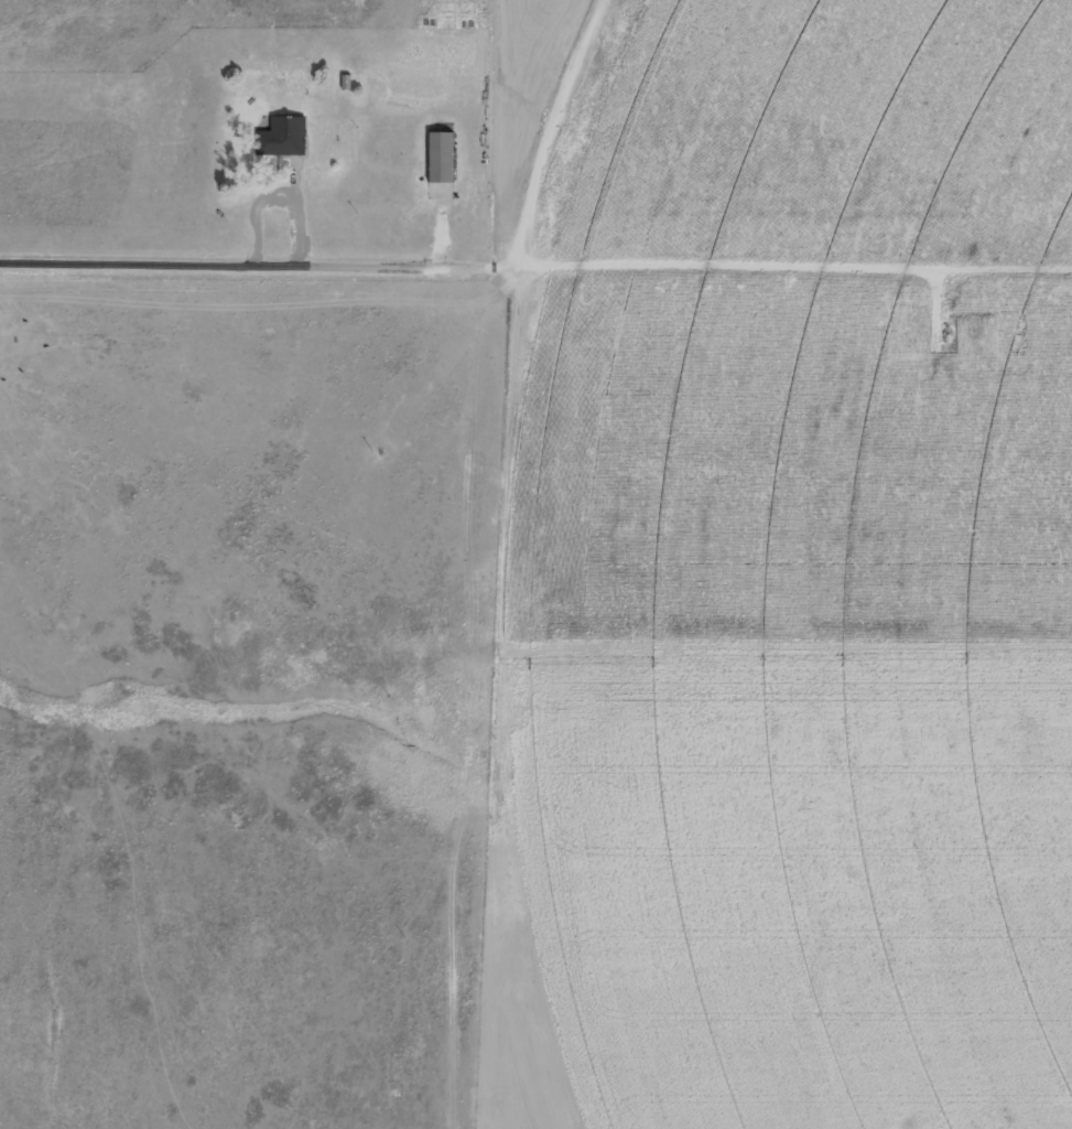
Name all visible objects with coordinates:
building: (432, 173)
road: (398, 266)

